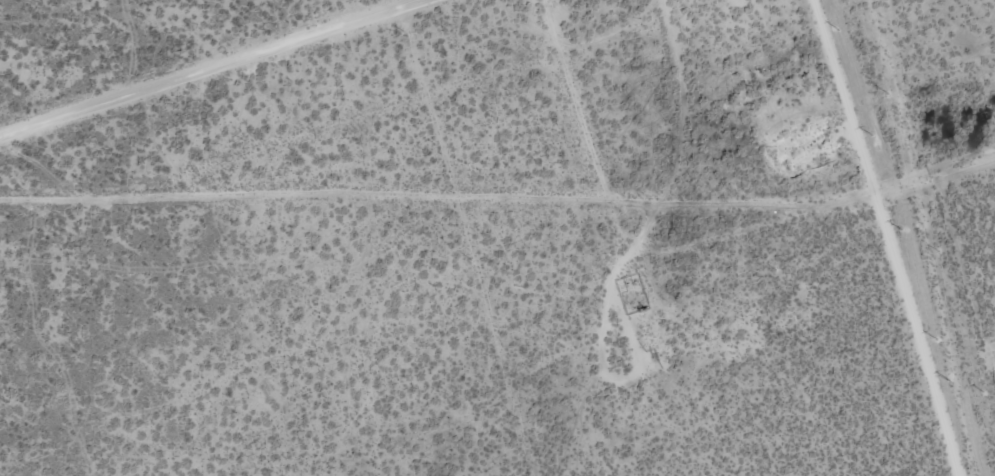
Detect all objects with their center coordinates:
road: (203, 65)
road: (656, 132)
road: (545, 148)

